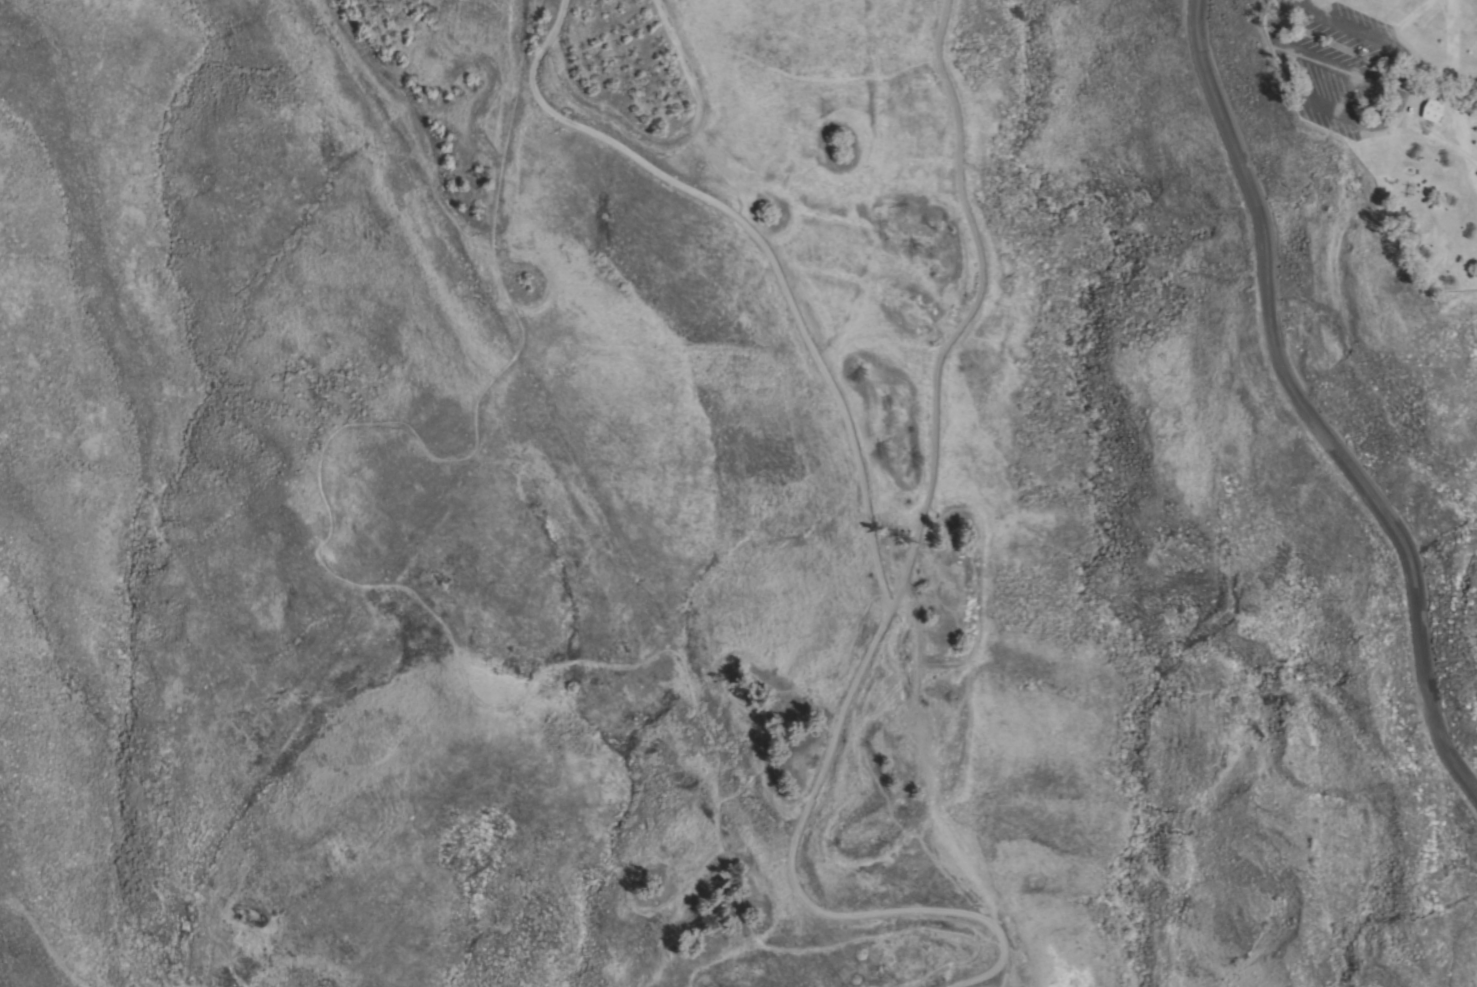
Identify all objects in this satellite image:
road: (1284, 26)
road: (1361, 32)
parking lot: (1349, 67)
building: (1430, 110)
road: (1383, 113)
road: (761, 246)
road: (1307, 409)
park: (905, 472)
road: (893, 593)
road: (452, 638)

